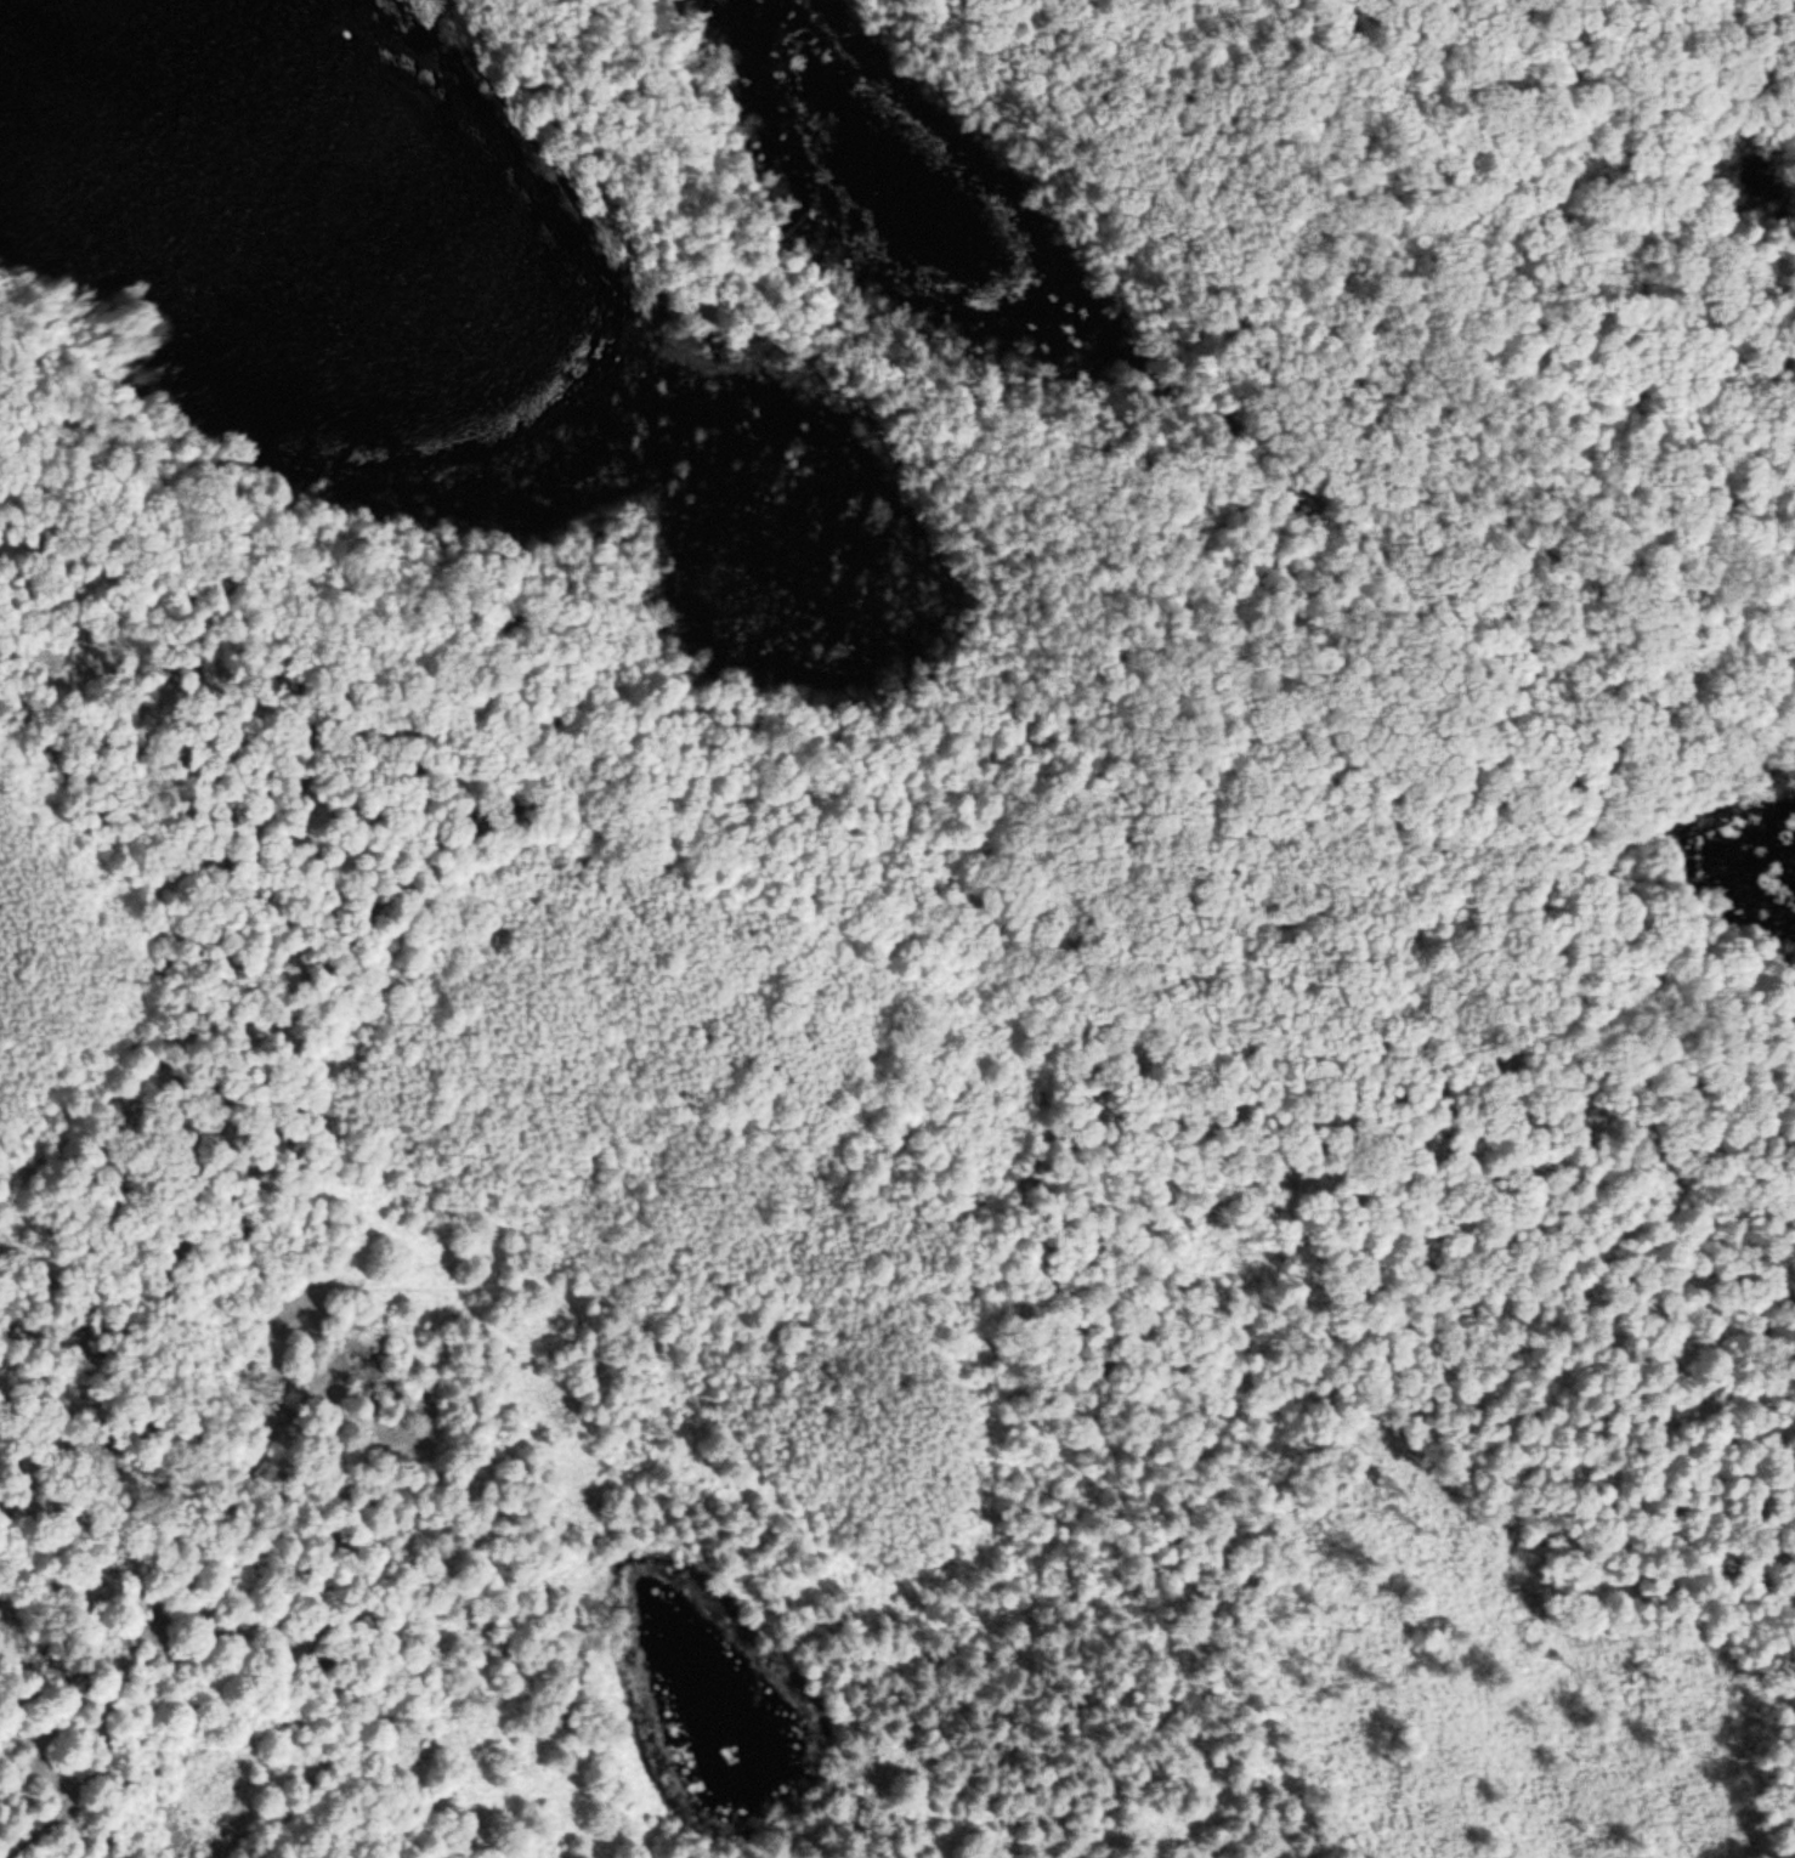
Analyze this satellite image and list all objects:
road: (1383, 165)
road: (868, 370)
road: (1485, 655)
road: (1575, 718)
road: (32, 1831)

